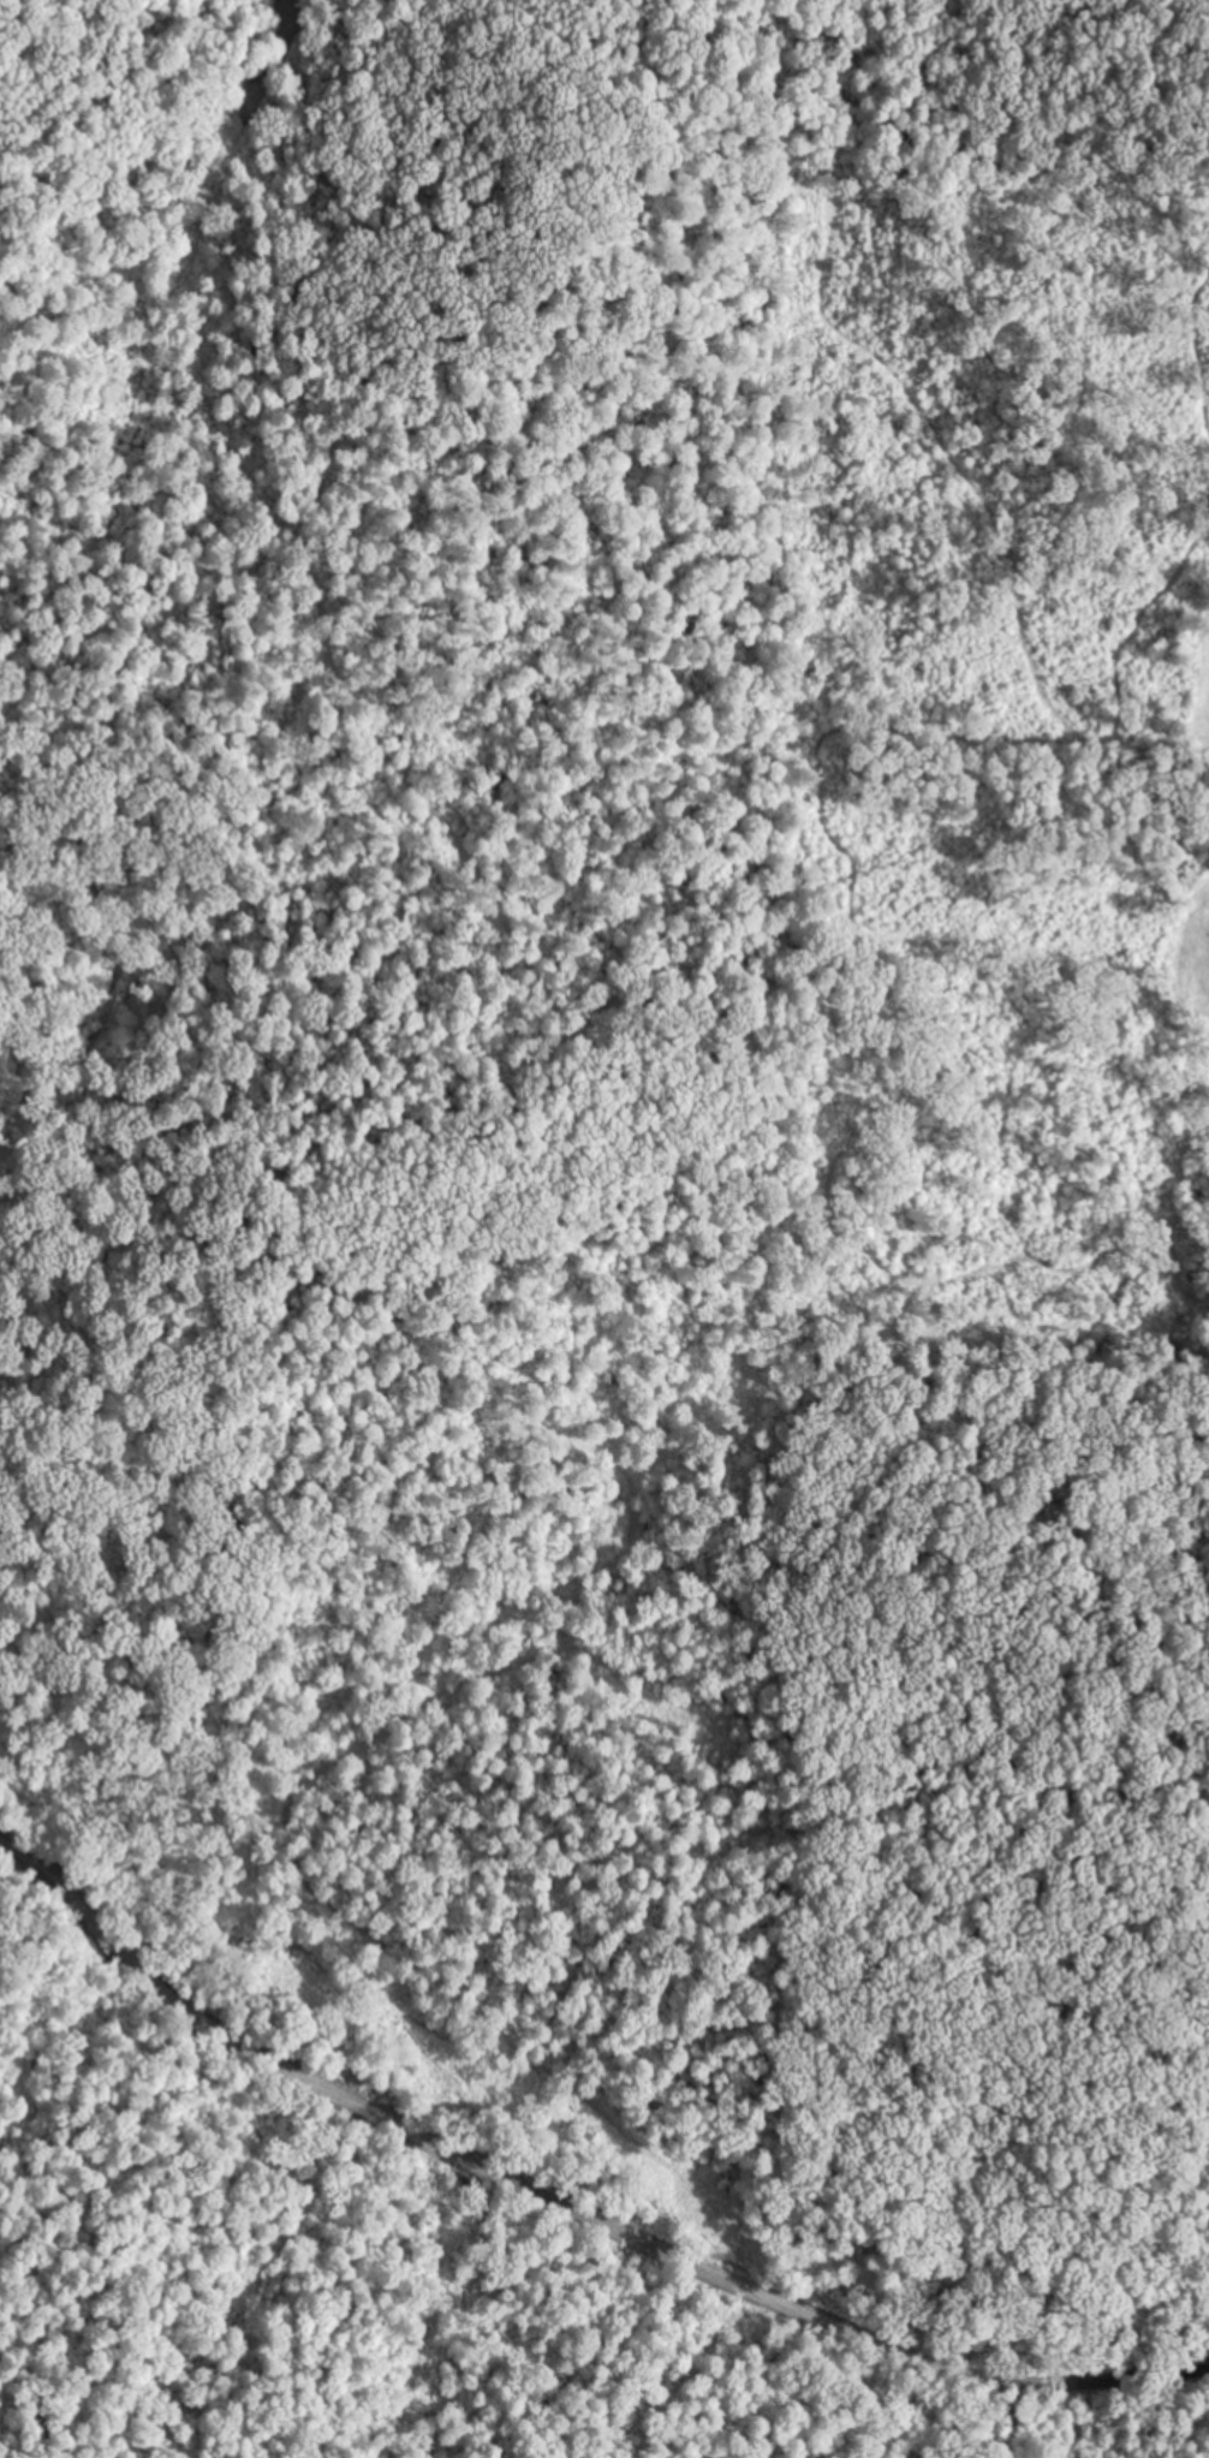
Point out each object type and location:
road: (564, 2204)

